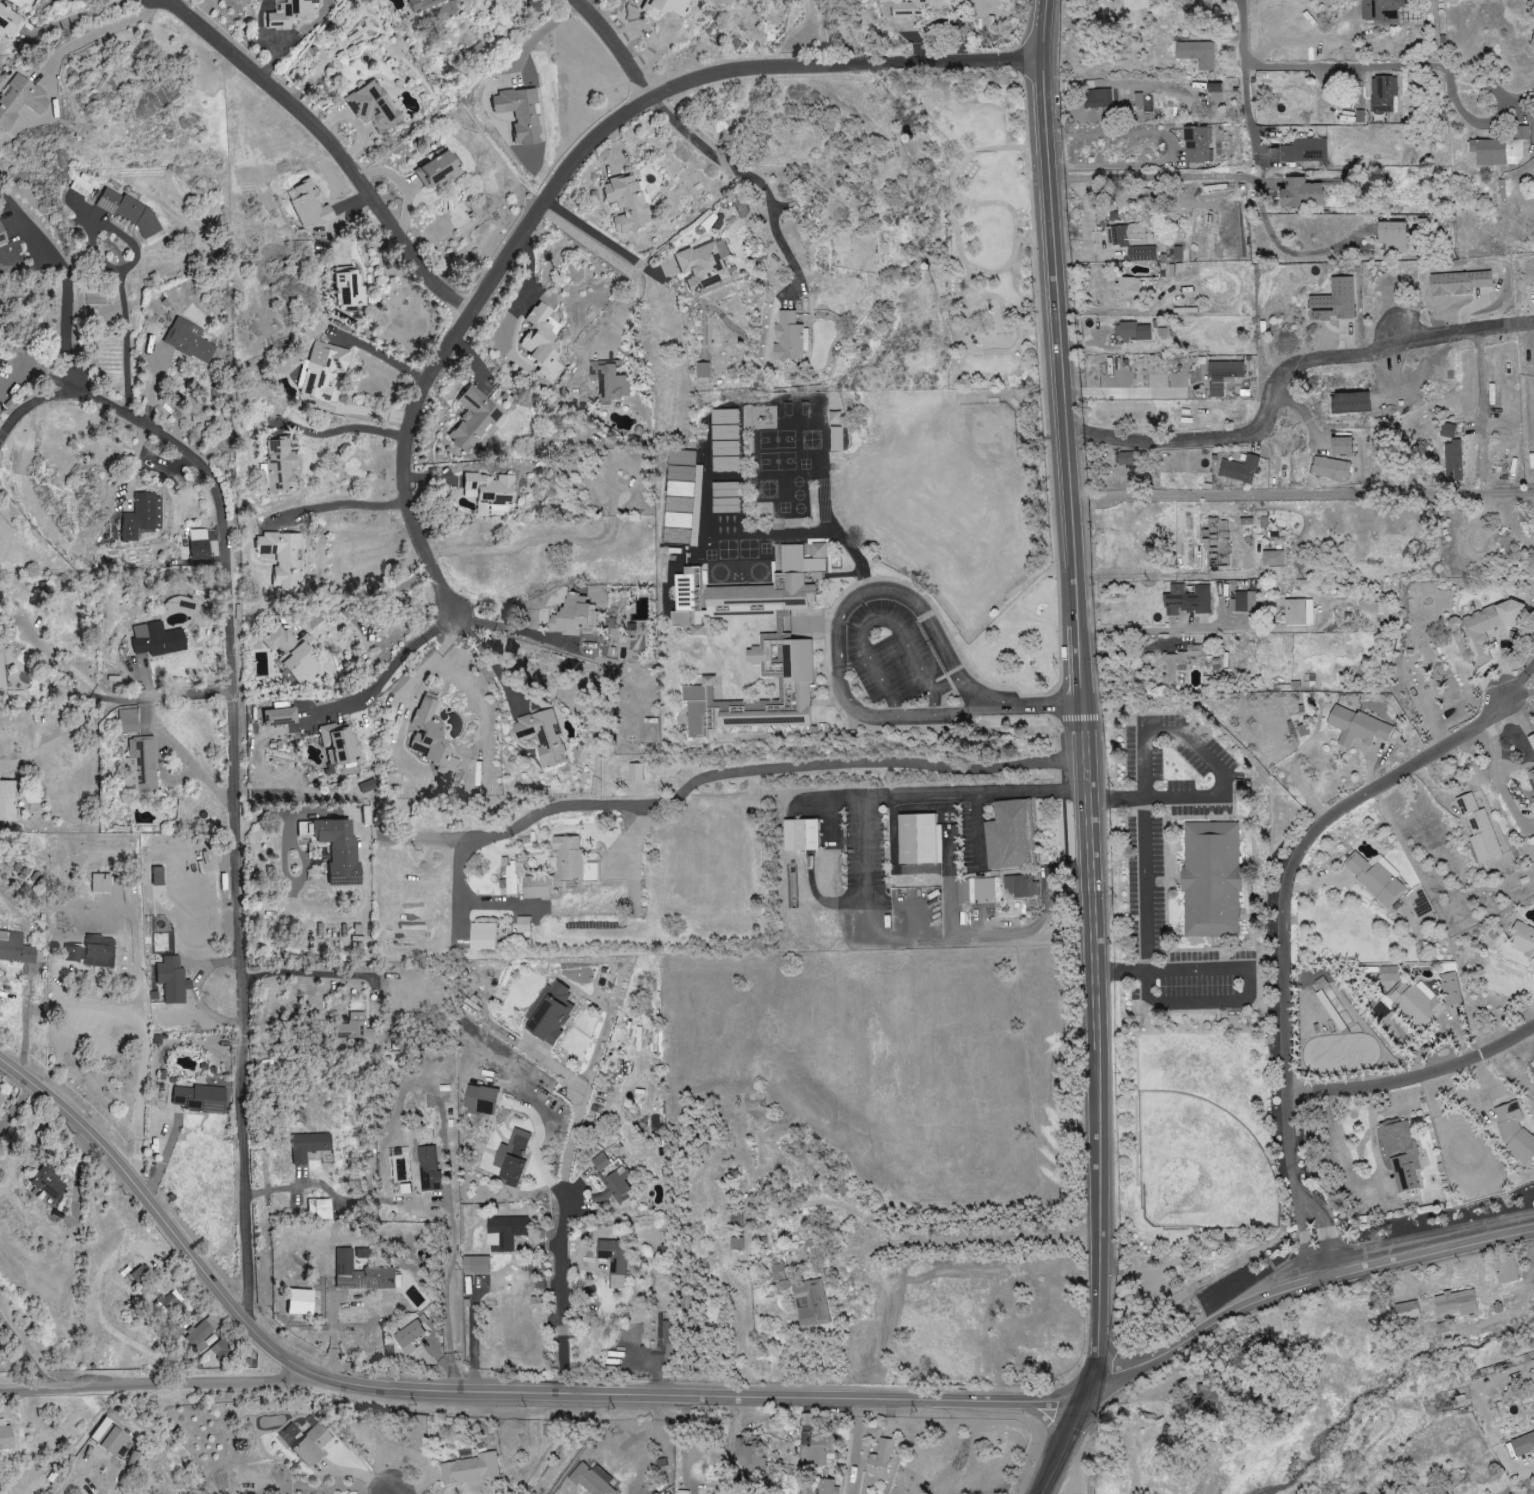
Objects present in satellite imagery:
building: (422, 4)
building: (663, 6)
building: (914, 7)
building: (1381, 11)
building: (290, 13)
road: (81, 16)
building: (10, 23)
road: (97, 33)
road: (539, 34)
road: (619, 45)
building: (1196, 53)
road: (1345, 65)
building: (1214, 87)
building: (1382, 94)
building: (1097, 98)
building: (20, 100)
building: (373, 106)
road: (1243, 108)
building: (519, 113)
road: (333, 144)
building: (1196, 144)
road: (1169, 147)
building: (1500, 149)
building: (1304, 150)
building: (436, 170)
road: (570, 172)
road: (744, 176)
road: (1212, 178)
building: (82, 185)
building: (1300, 193)
building: (626, 202)
building: (308, 204)
building: (127, 211)
road: (955, 230)
road: (1011, 231)
park: (973, 236)
building: (1392, 236)
building: (2, 238)
road: (1030, 239)
building: (1132, 242)
building: (703, 265)
road: (628, 270)
road: (122, 277)
building: (1458, 282)
building: (1129, 287)
building: (347, 288)
road: (67, 292)
building: (1334, 301)
road: (1015, 331)
building: (1131, 332)
building: (787, 337)
building: (189, 340)
building: (541, 341)
road: (385, 359)
building: (0, 368)
building: (323, 369)
building: (702, 373)
building: (1222, 375)
road: (1280, 375)
road: (1480, 381)
building: (608, 382)
road: (1132, 391)
road: (28, 404)
building: (834, 417)
building: (475, 419)
road: (353, 430)
building: (1447, 430)
building: (836, 439)
building: (724, 440)
building: (1341, 446)
building: (1124, 458)
building: (1452, 462)
building: (280, 465)
building: (681, 466)
building: (1239, 469)
building: (1329, 469)
building: (490, 487)
building: (679, 489)
road: (1299, 495)
building: (724, 497)
road: (343, 502)
building: (139, 517)
building: (677, 520)
building: (198, 544)
building: (791, 552)
building: (282, 557)
building: (1272, 558)
road: (1164, 574)
road: (371, 592)
building: (737, 600)
building: (1186, 600)
building: (1246, 602)
building: (1367, 605)
building: (1298, 612)
building: (572, 616)
road: (880, 621)
road: (839, 623)
road: (510, 629)
road: (1139, 630)
building: (1481, 632)
building: (157, 639)
building: (294, 655)
parking lot: (893, 660)
building: (1179, 663)
road: (396, 676)
road: (1520, 677)
building: (1, 678)
road: (58, 683)
building: (1294, 686)
road: (1519, 691)
building: (697, 694)
road: (118, 702)
road: (1027, 703)
building: (279, 717)
building: (128, 721)
building: (1357, 728)
building: (541, 737)
building: (431, 742)
building: (1531, 742)
building: (339, 743)
road: (1196, 746)
road: (191, 748)
road: (1081, 753)
road: (837, 762)
building: (141, 765)
building: (634, 773)
building: (1531, 777)
road: (1149, 798)
building: (7, 800)
road: (245, 815)
building: (1533, 817)
building: (303, 829)
building: (1478, 830)
building: (800, 835)
building: (1008, 836)
building: (918, 840)
building: (338, 850)
building: (567, 857)
building: (510, 874)
building: (1375, 877)
building: (1211, 879)
road: (1145, 881)
building: (100, 883)
building: (1022, 886)
building: (536, 887)
building: (152, 889)
road: (865, 890)
building: (975, 890)
building: (965, 918)
building: (523, 925)
road: (1288, 935)
building: (481, 936)
building: (1521, 941)
building: (15, 948)
building: (91, 953)
road: (319, 970)
building: (1389, 974)
building: (172, 980)
building: (1321, 983)
road: (1247, 996)
building: (1416, 1003)
building: (549, 1013)
building: (354, 1027)
road: (145, 1041)
road: (1416, 1073)
building: (1, 1098)
building: (200, 1098)
building: (479, 1100)
building: (1514, 1133)
building: (309, 1146)
building: (1401, 1156)
building: (511, 1158)
building: (428, 1170)
road: (136, 1179)
building: (611, 1179)
road: (1365, 1179)
building: (48, 1183)
building: (319, 1210)
building: (505, 1234)
road: (562, 1241)
building: (735, 1244)
road: (862, 1252)
building: (362, 1253)
building: (613, 1261)
building: (475, 1266)
building: (1505, 1269)
building: (776, 1273)
building: (360, 1274)
building: (139, 1276)
road: (331, 1283)
road: (1306, 1287)
building: (298, 1302)
building: (809, 1302)
building: (1455, 1303)
building: (173, 1304)
building: (1409, 1309)
building: (198, 1333)
building: (664, 1336)
building: (408, 1337)
building: (208, 1343)
building: (220, 1350)
road: (25, 1352)
road: (157, 1386)
road: (665, 1397)
building: (1211, 1401)
building: (4, 1434)
building: (107, 1436)
building: (305, 1441)
building: (1523, 1444)
building: (819, 1449)
building: (749, 1457)
building: (879, 1460)
road: (1527, 1468)
building: (469, 1469)
building: (591, 1479)
road: (398, 1489)
building: (682, 1492)

